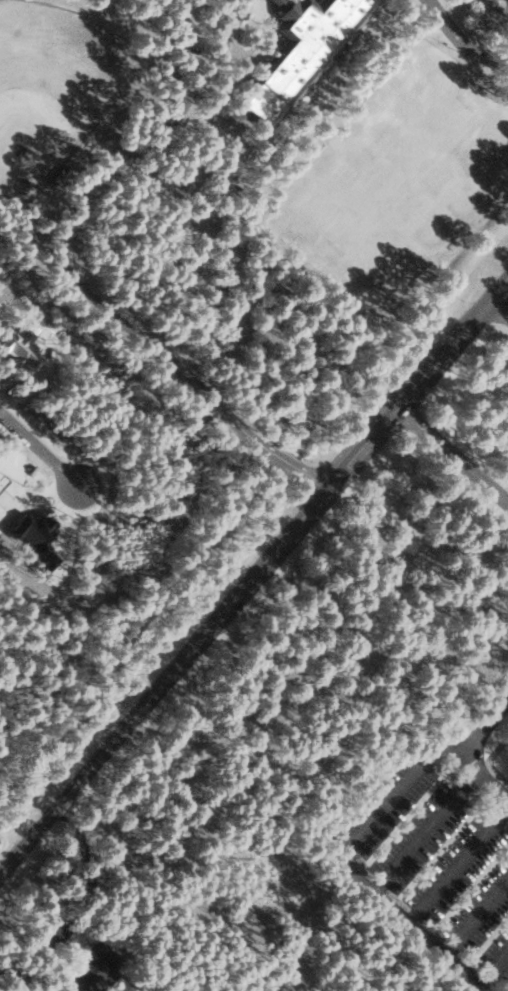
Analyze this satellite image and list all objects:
building: (279, 3)
road: (461, 40)
building: (303, 50)
park: (52, 91)
road: (495, 321)
road: (42, 444)
road: (451, 459)
road: (244, 505)
road: (253, 577)
road: (496, 726)
road: (480, 780)
road: (425, 834)
road: (349, 864)
road: (460, 866)
road: (478, 918)
building: (94, 968)
road: (499, 978)

